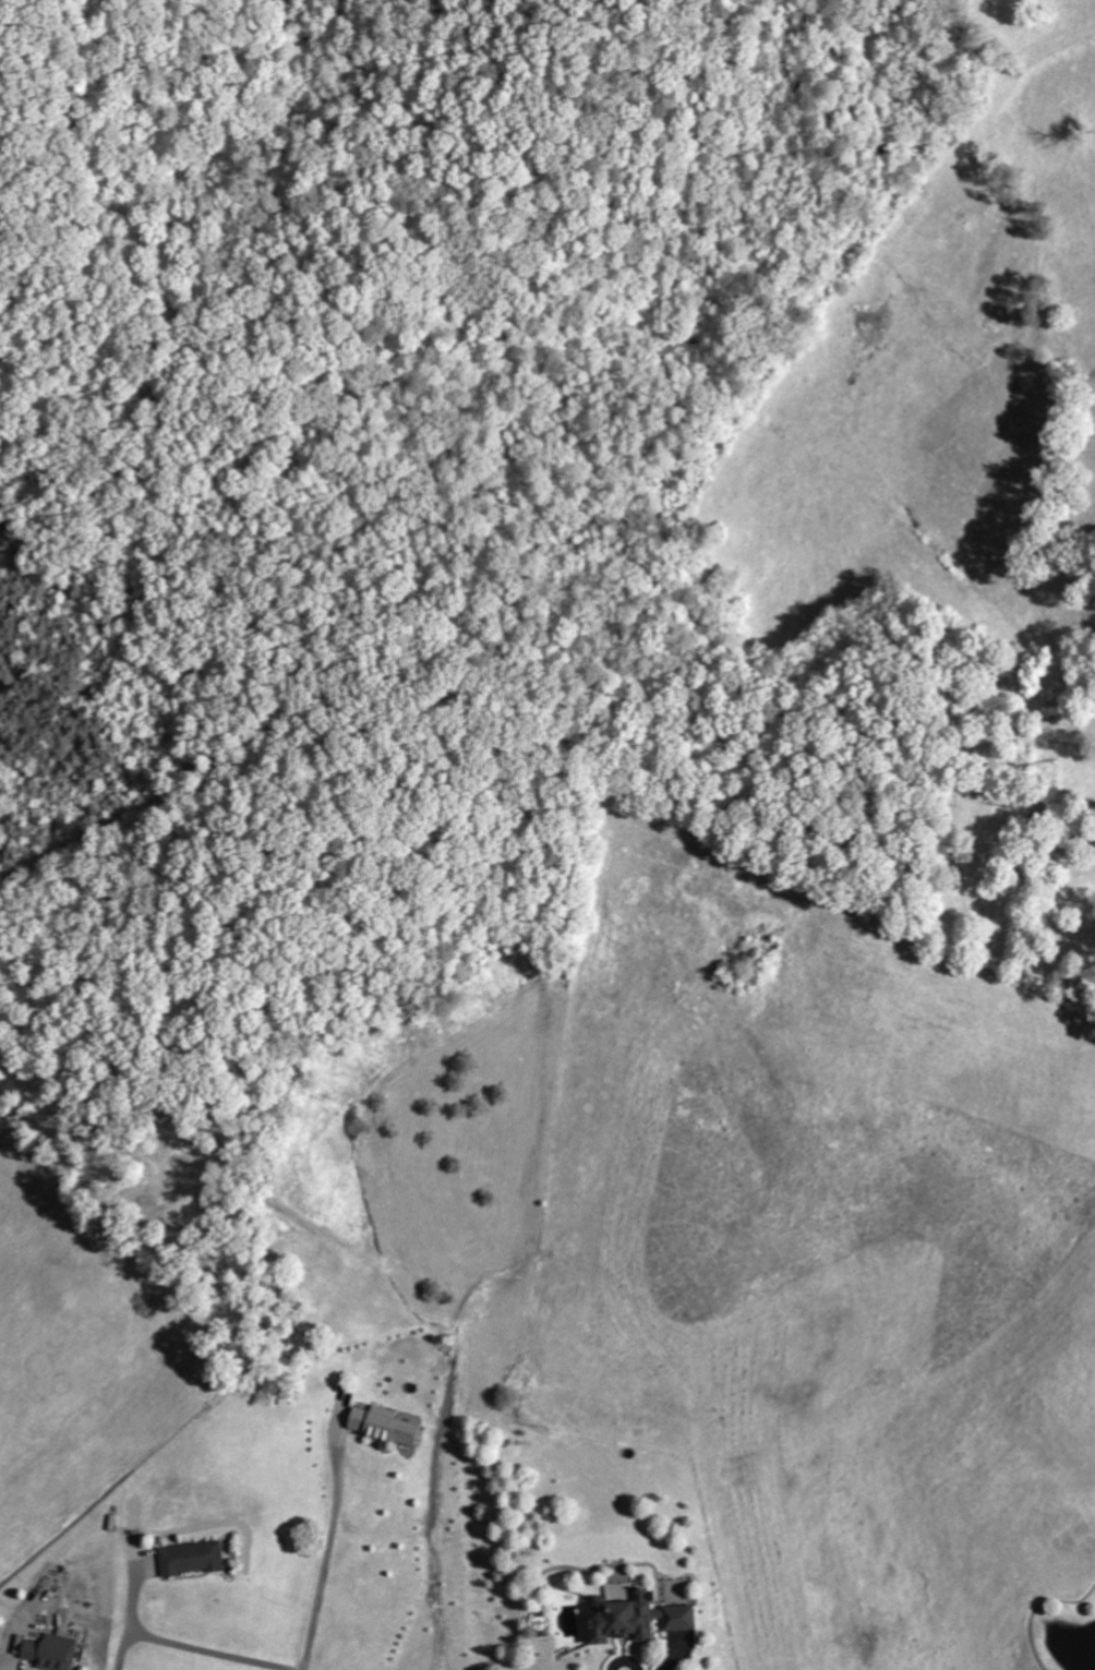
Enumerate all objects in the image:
building: (385, 1425)
building: (192, 1558)
building: (638, 1618)
building: (51, 1651)

